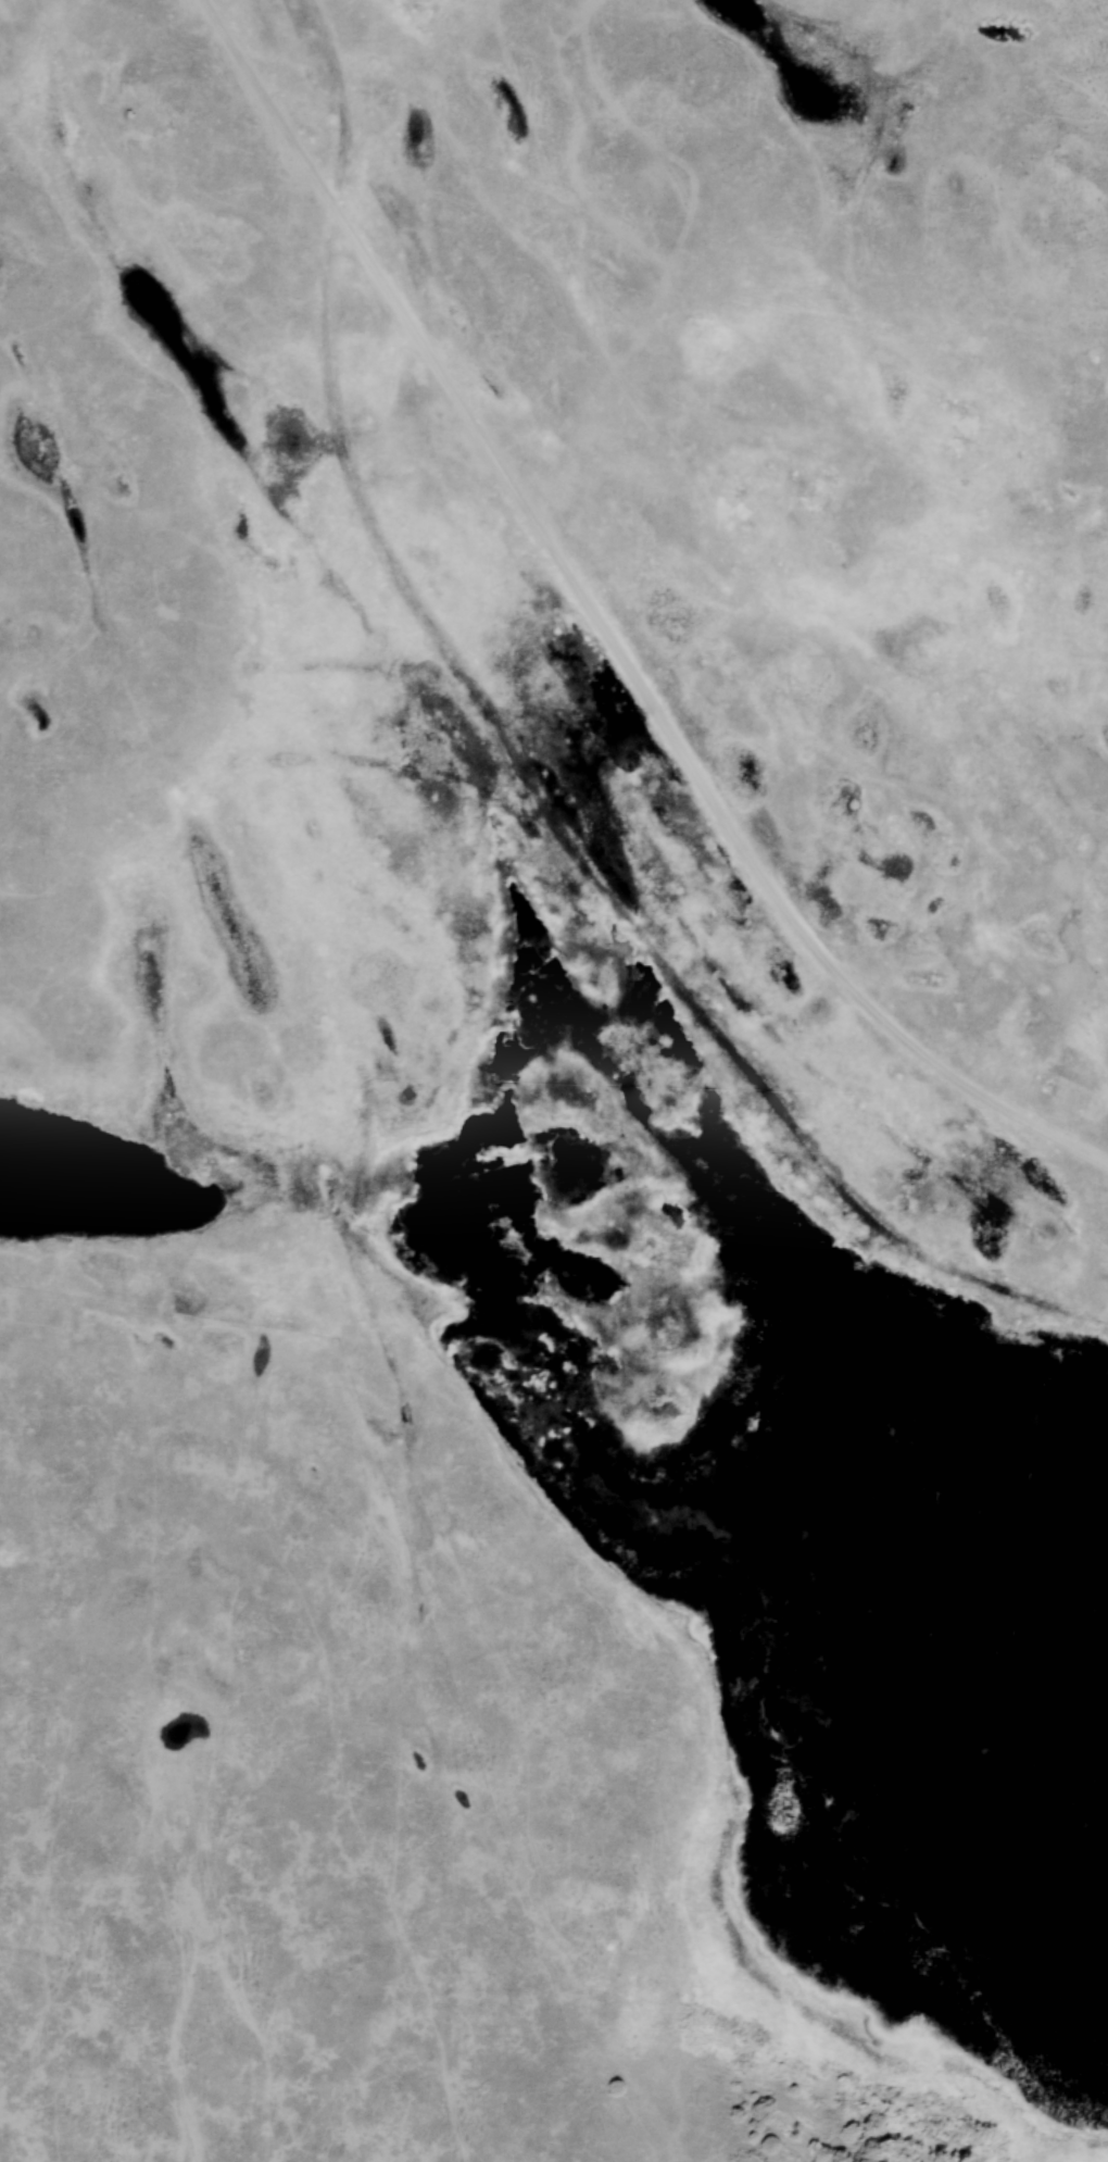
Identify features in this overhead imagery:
road: (606, 625)

